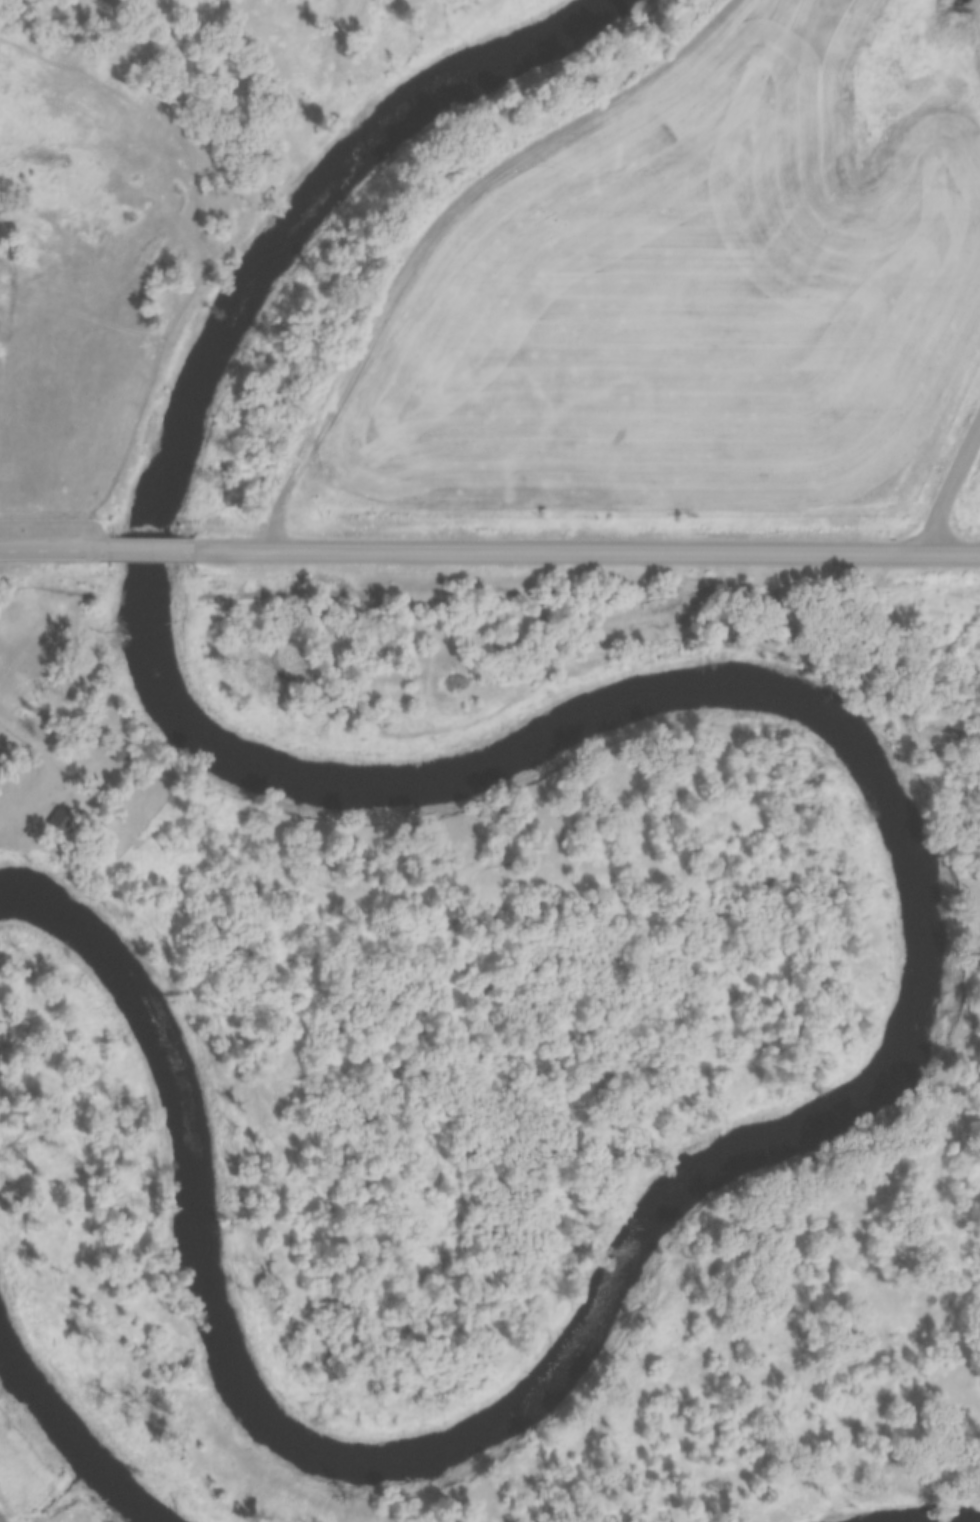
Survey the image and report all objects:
building: (43, 157)
road: (435, 221)
road: (948, 475)
road: (45, 550)
road: (133, 550)
road: (577, 550)
river: (880, 792)
river: (66, 1438)

